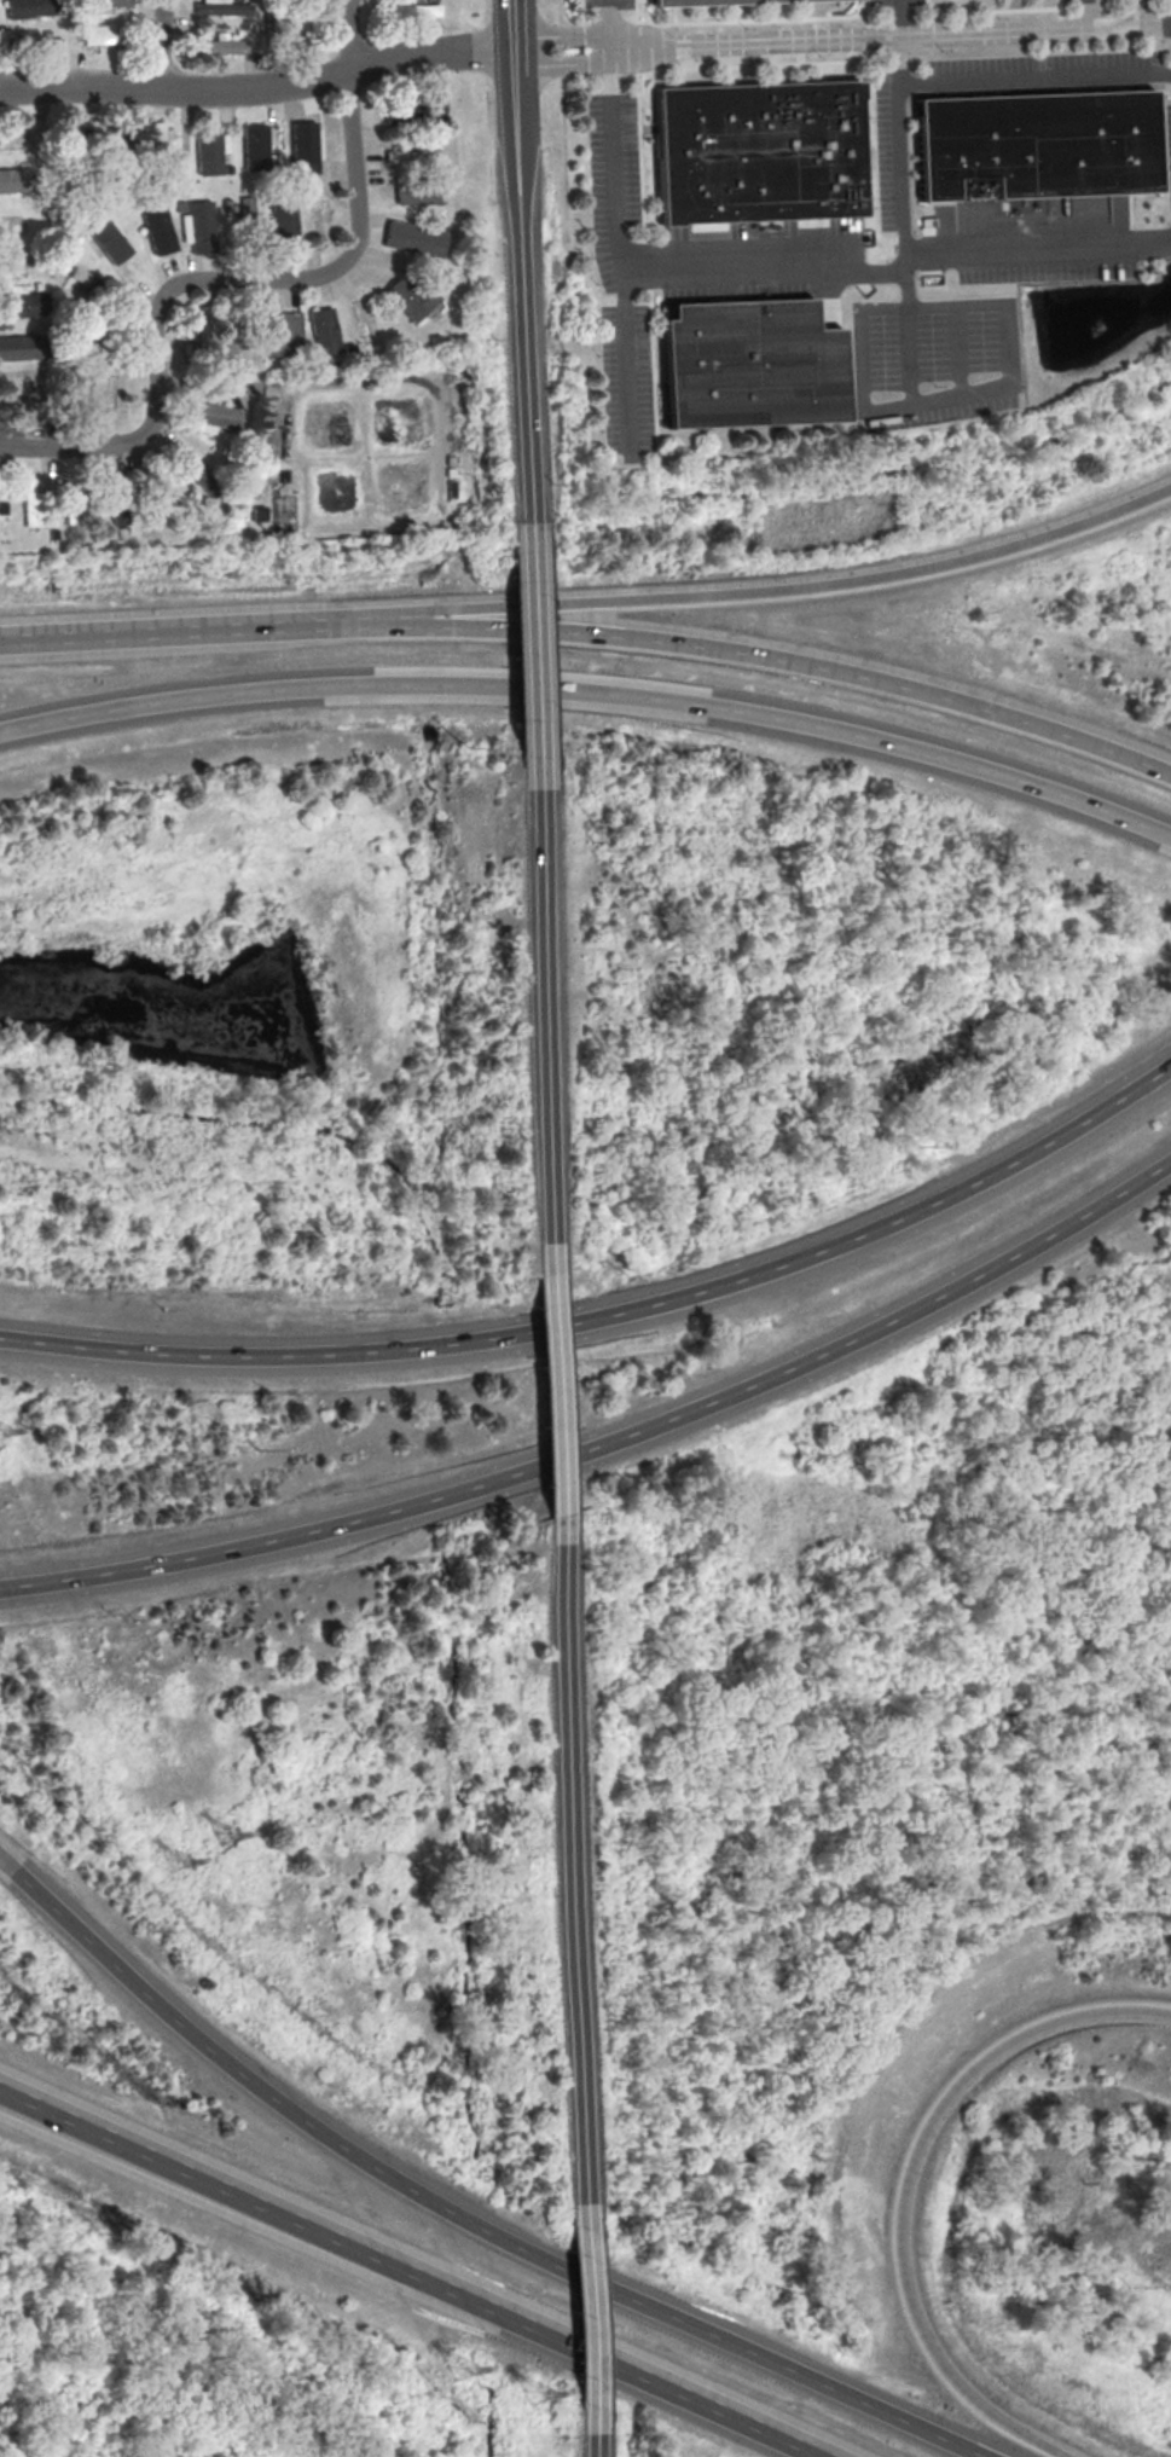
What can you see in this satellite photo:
building: (106, 2)
building: (715, 2)
road: (512, 4)
building: (625, 4)
building: (29, 7)
building: (222, 7)
road: (1138, 13)
road: (1088, 15)
road: (898, 18)
building: (288, 24)
road: (609, 24)
road: (1155, 27)
road: (514, 29)
building: (100, 33)
road: (564, 33)
road: (354, 34)
road: (874, 36)
road: (164, 45)
building: (222, 45)
road: (564, 63)
road: (1036, 79)
road: (259, 87)
building: (416, 109)
road: (564, 120)
road: (516, 131)
building: (118, 135)
building: (161, 135)
building: (256, 146)
building: (305, 146)
building: (1033, 146)
building: (209, 152)
building: (755, 155)
building: (413, 156)
building: (16, 179)
building: (417, 193)
building: (285, 219)
building: (202, 226)
building: (160, 230)
building: (415, 238)
building: (110, 239)
road: (620, 251)
road: (966, 254)
road: (876, 271)
road: (268, 278)
building: (408, 295)
building: (27, 303)
building: (324, 330)
building: (284, 332)
building: (231, 341)
building: (19, 347)
road: (958, 350)
road: (524, 366)
building: (746, 366)
road: (395, 376)
road: (207, 384)
road: (950, 399)
building: (213, 416)
road: (59, 448)
building: (196, 470)
building: (117, 485)
building: (34, 502)
building: (71, 506)
building: (120, 514)
road: (770, 589)
road: (179, 630)
road: (772, 656)
road: (534, 659)
road: (593, 690)
road: (544, 1016)
road: (611, 1316)
road: (558, 1393)
road: (609, 1439)
power tower: (218, 1832)
road: (578, 1841)
power tower: (173, 1861)
road: (7, 1866)
road: (230, 2063)
road: (903, 2180)
road: (325, 2185)
road: (236, 2190)
road: (481, 2225)
road: (597, 2296)
road: (485, 2302)
road: (741, 2345)
power tower: (457, 2369)
road: (662, 2382)
power tower: (537, 2394)

